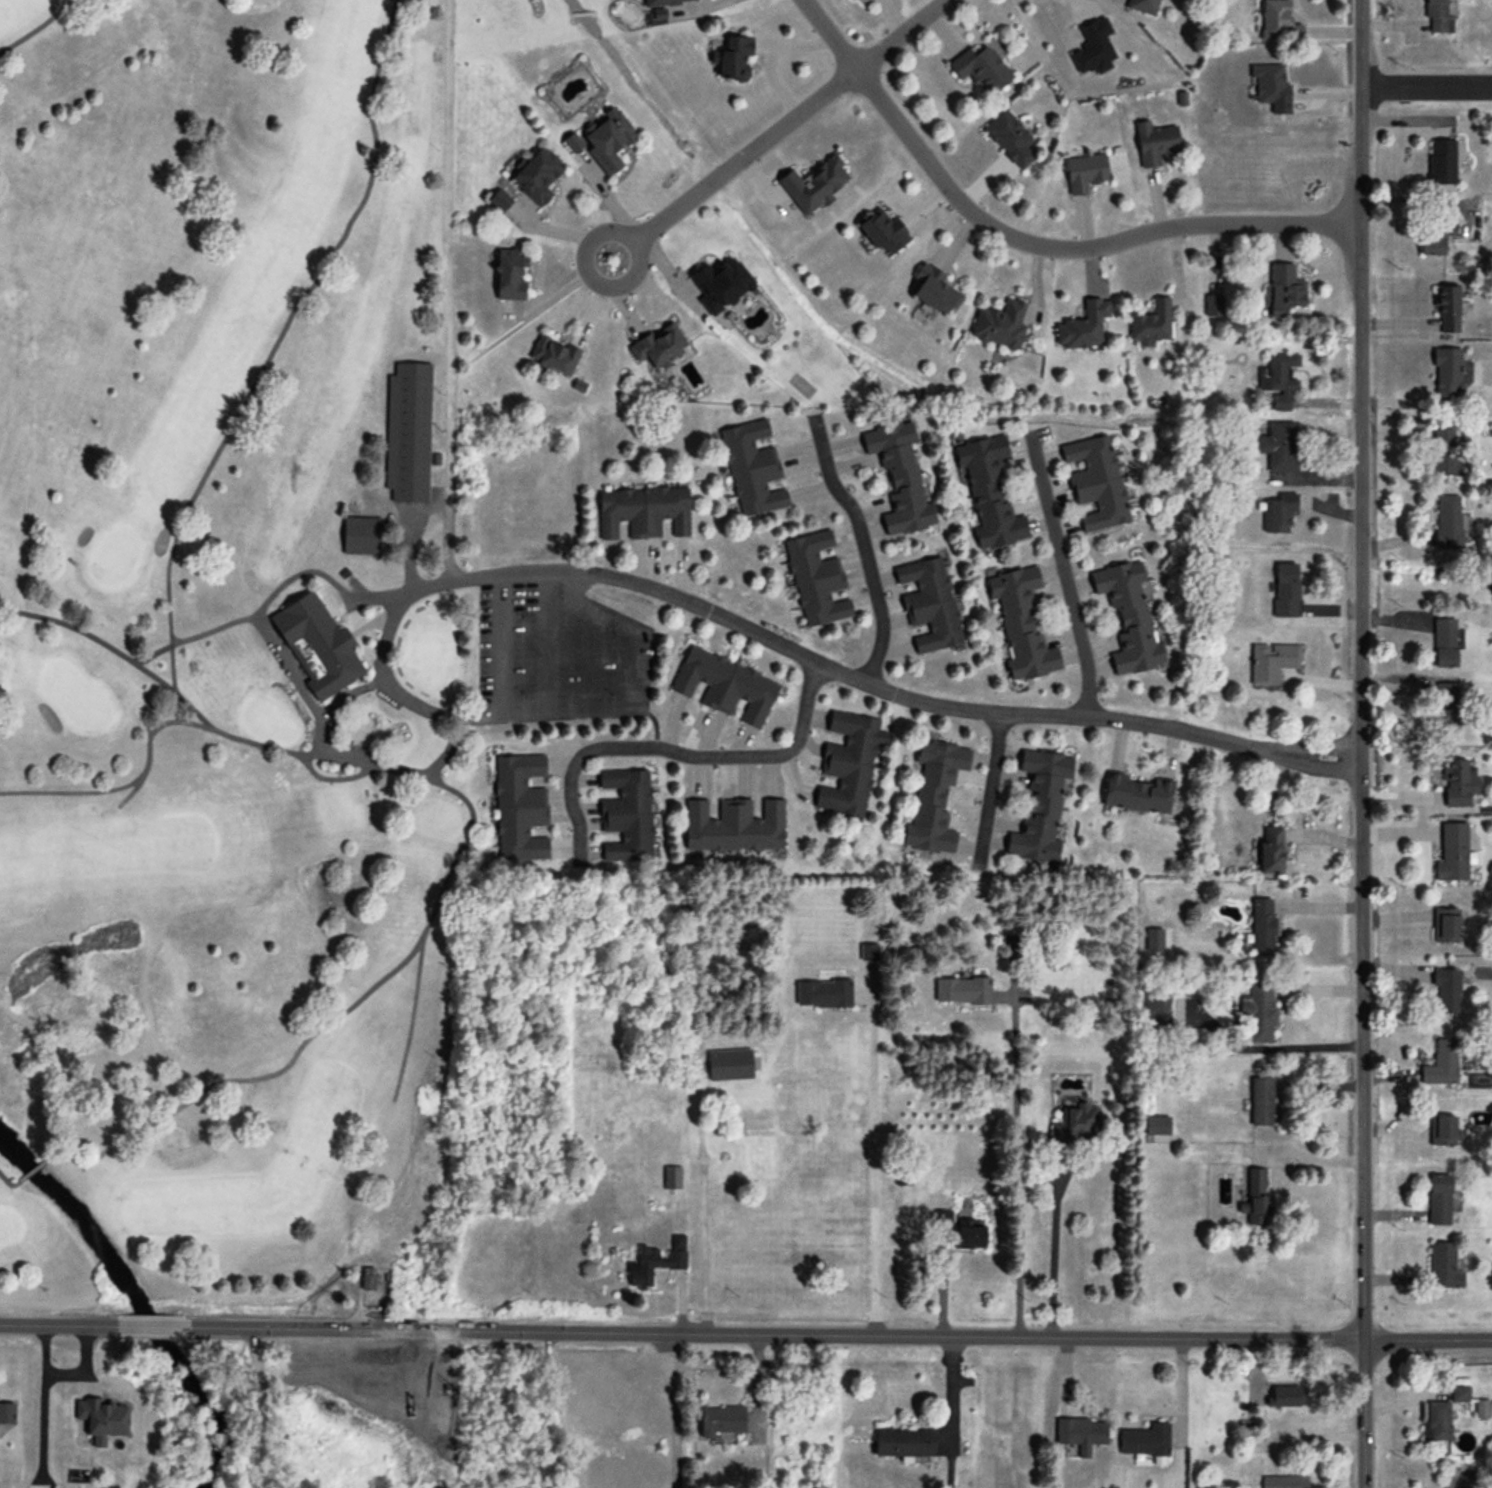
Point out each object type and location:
building: (865, 0)
building: (665, 2)
building: (1143, 6)
building: (1440, 17)
building: (1277, 23)
road: (42, 25)
road: (903, 37)
building: (733, 58)
building: (981, 71)
building: (1268, 85)
road: (1426, 86)
building: (1009, 138)
building: (606, 139)
building: (1154, 143)
building: (1441, 162)
road: (734, 168)
building: (1083, 173)
building: (536, 176)
road: (451, 185)
building: (498, 201)
building: (881, 232)
building: (1434, 238)
road: (1029, 242)
building: (508, 275)
building: (720, 284)
building: (1284, 291)
building: (933, 292)
building: (1447, 310)
building: (1150, 323)
building: (999, 326)
building: (1083, 326)
building: (658, 347)
building: (554, 357)
building: (1446, 373)
building: (1280, 382)
road: (245, 400)
building: (407, 433)
building: (1278, 447)
building: (1444, 452)
building: (751, 470)
building: (899, 479)
building: (1095, 483)
building: (988, 492)
building: (642, 512)
building: (1277, 513)
building: (1448, 521)
building: (360, 536)
road: (864, 544)
road: (1064, 578)
building: (815, 580)
building: (1285, 591)
building: (929, 604)
building: (1128, 618)
road: (233, 622)
building: (1021, 624)
road: (772, 642)
parking lot: (535, 643)
building: (1444, 643)
building: (318, 645)
park: (236, 661)
building: (1272, 665)
road: (295, 677)
building: (724, 687)
road: (409, 698)
building: (1446, 708)
road: (1360, 744)
road: (672, 750)
road: (1324, 751)
building: (848, 764)
road: (1323, 768)
road: (330, 771)
building: (1454, 783)
road: (74, 790)
road: (988, 790)
building: (1135, 795)
building: (933, 799)
building: (1040, 808)
building: (519, 809)
building: (626, 816)
building: (734, 827)
building: (1269, 851)
building: (1452, 854)
road: (433, 904)
building: (1445, 926)
building: (1262, 927)
building: (961, 990)
building: (1446, 991)
building: (823, 994)
road: (409, 1009)
building: (1159, 1012)
building: (1258, 1013)
building: (728, 1065)
building: (1441, 1065)
building: (1260, 1102)
building: (1075, 1124)
building: (1156, 1127)
building: (1442, 1131)
road: (870, 1165)
road: (1013, 1165)
building: (671, 1178)
road: (6, 1179)
building: (1255, 1199)
building: (1438, 1200)
building: (942, 1220)
building: (968, 1237)
road: (1050, 1253)
building: (655, 1263)
building: (1444, 1269)
building: (367, 1280)
road: (58, 1324)
road: (153, 1325)
road: (840, 1333)
road: (1177, 1392)
road: (947, 1394)
building: (1459, 1395)
building: (1286, 1398)
road: (554, 1409)
road: (668, 1409)
building: (1481, 1410)
building: (5, 1415)
building: (101, 1419)
building: (1438, 1421)
building: (719, 1422)
building: (1080, 1435)
building: (1144, 1441)
building: (902, 1443)
building: (1461, 1478)
building: (1284, 1482)

